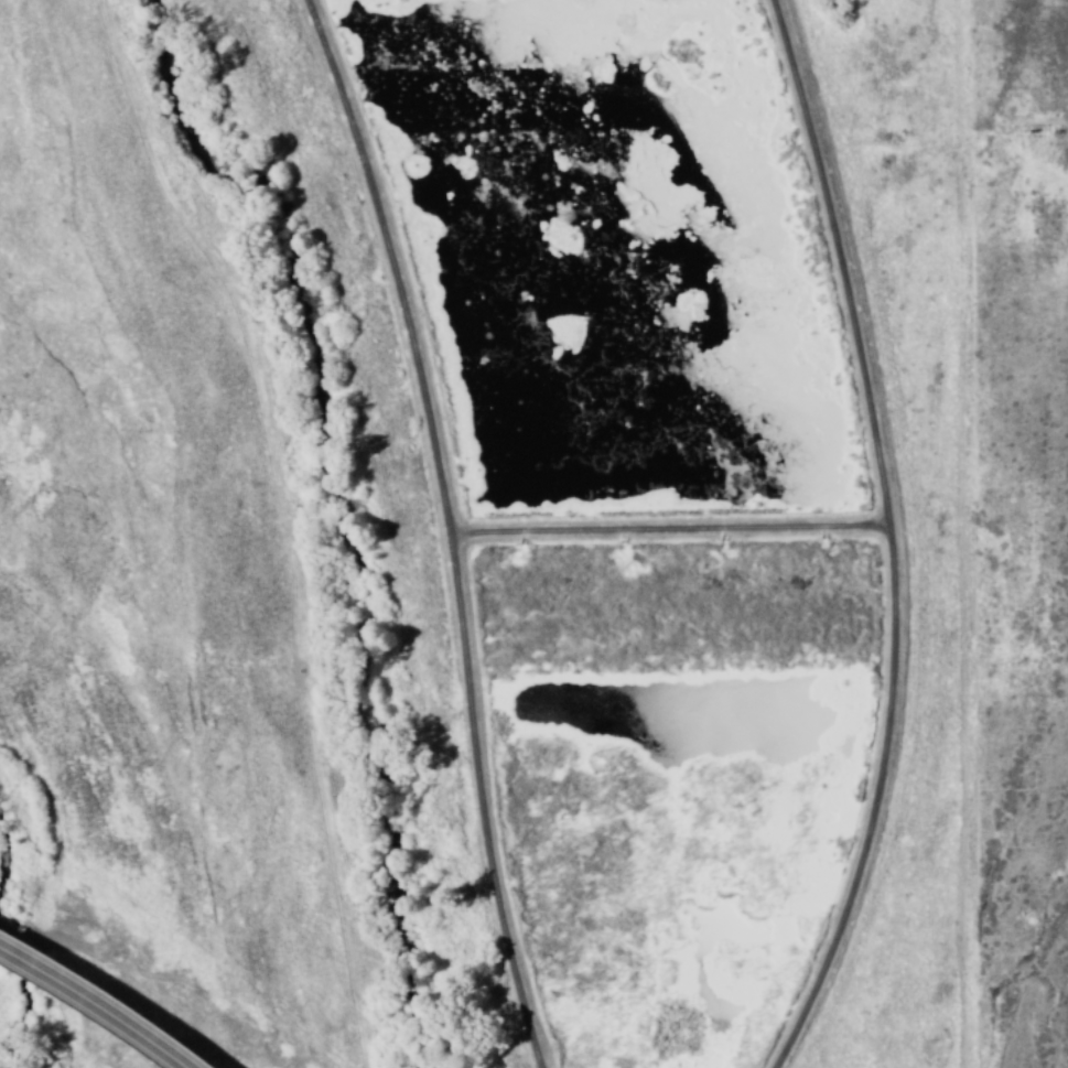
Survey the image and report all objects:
road: (93, 1005)

